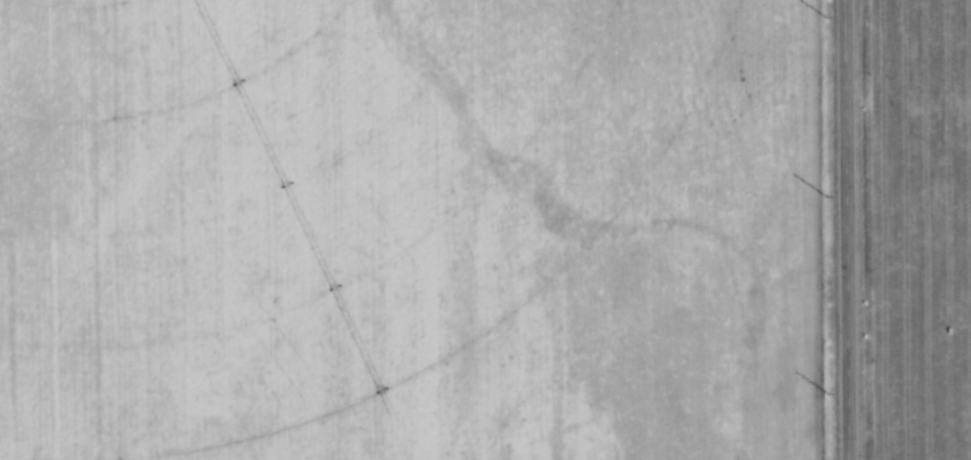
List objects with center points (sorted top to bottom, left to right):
crop: (411, 230)
road: (848, 230)

